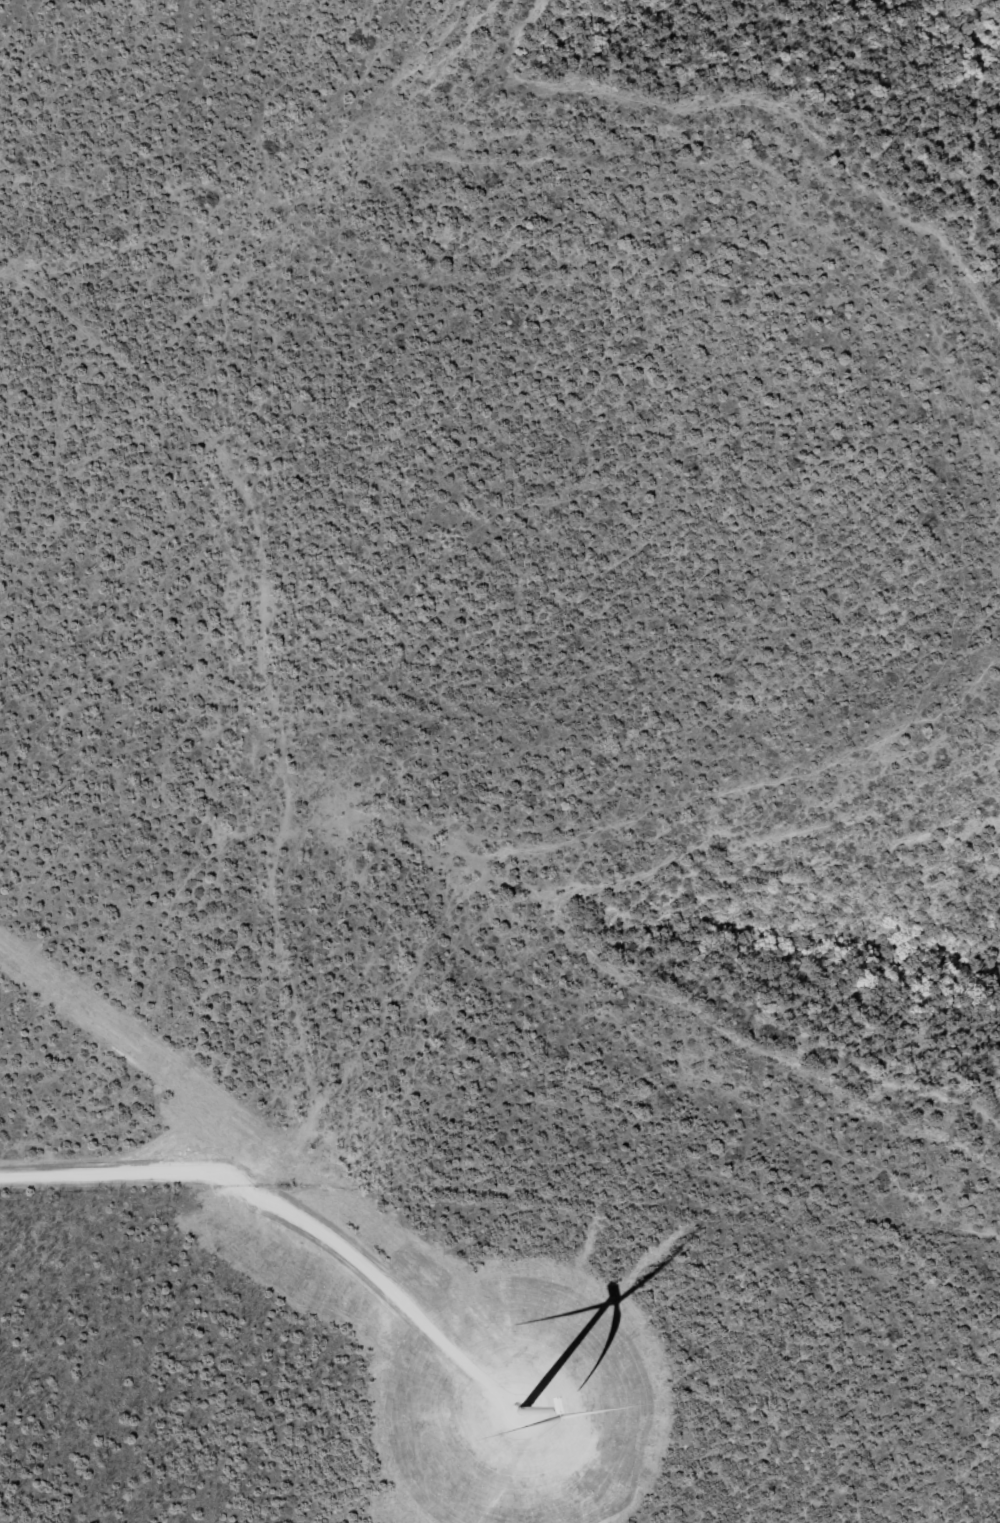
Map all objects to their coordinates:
wind turbine: (533, 1404)

